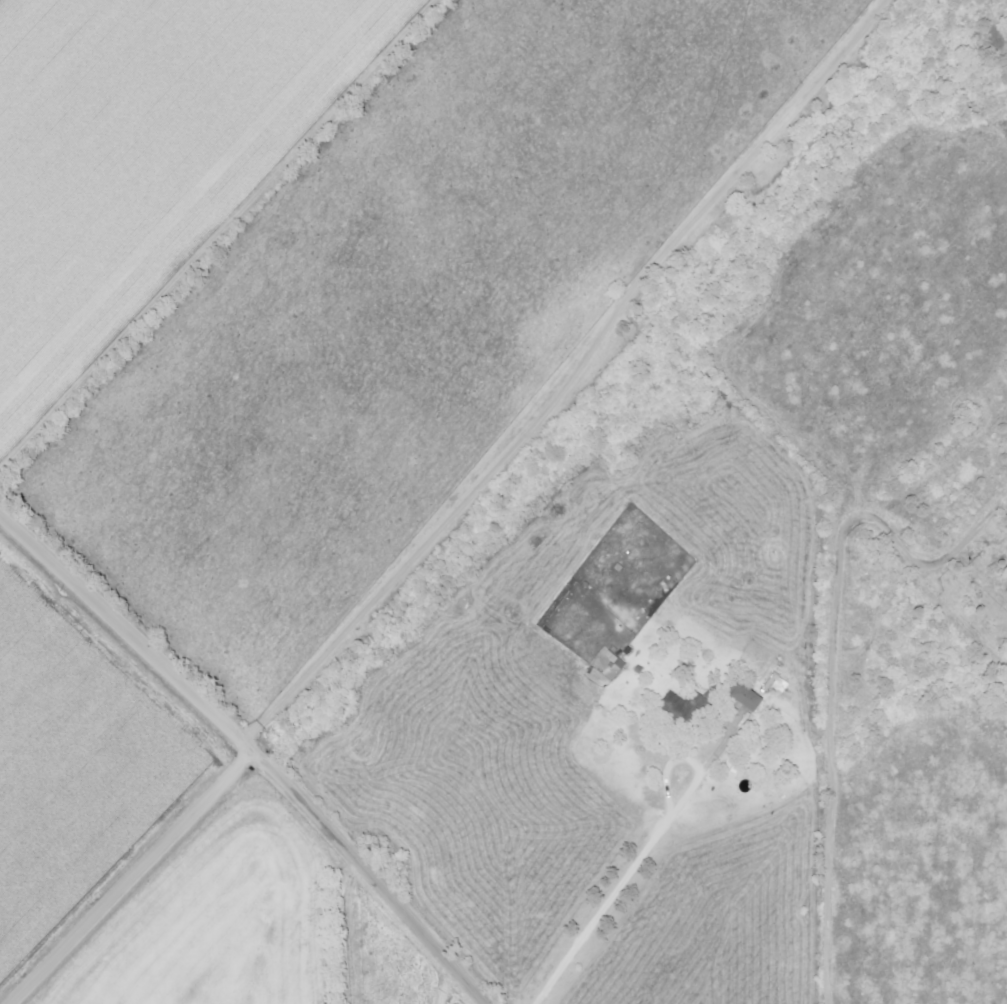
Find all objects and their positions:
road: (570, 376)
road: (127, 628)
building: (750, 697)
building: (679, 707)
road: (373, 874)
road: (625, 875)
road: (132, 876)

